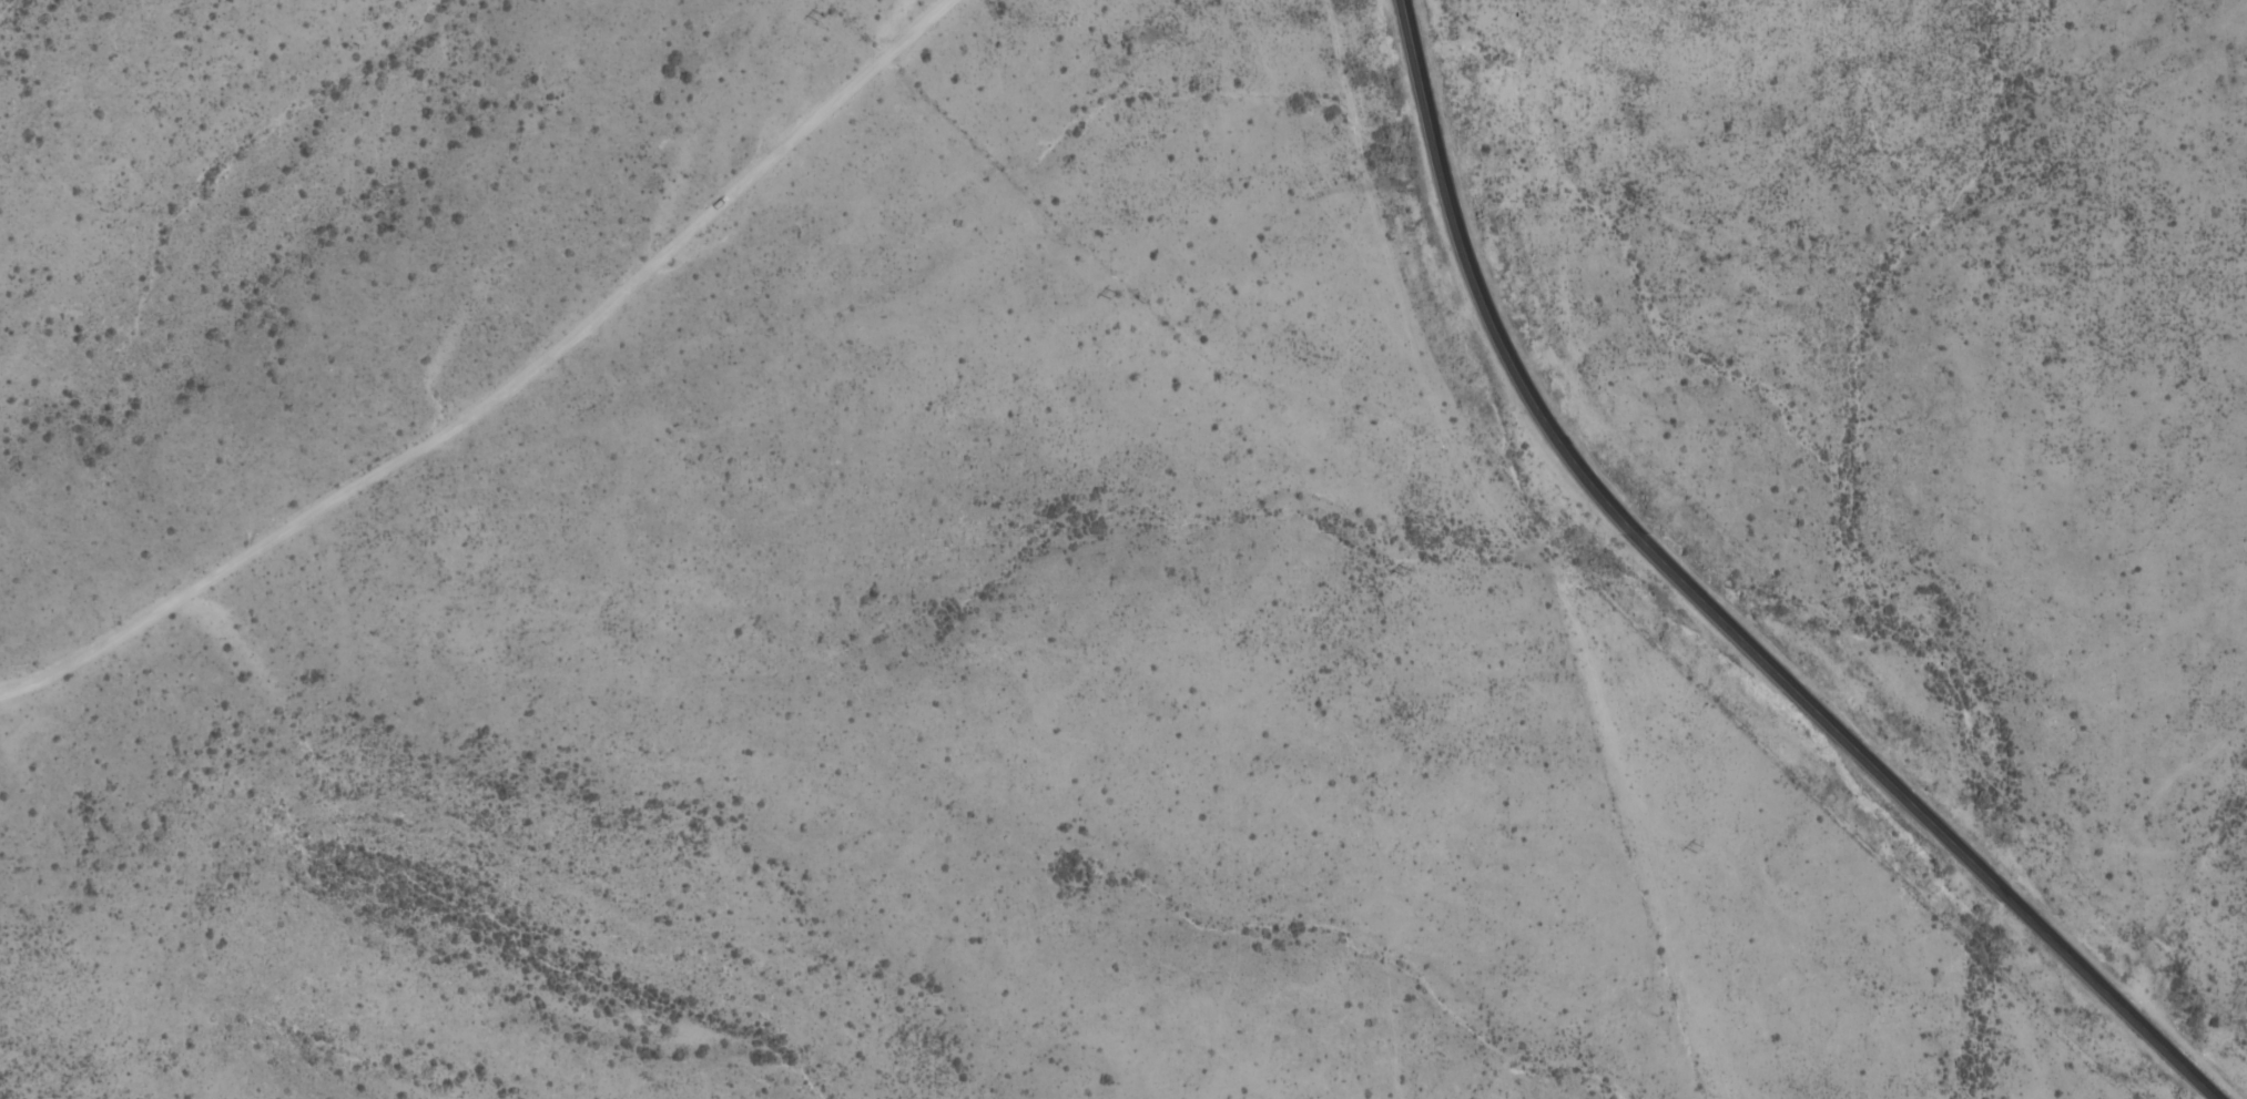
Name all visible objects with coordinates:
power tower: (817, 16)
power tower: (1110, 293)
road: (506, 390)
power tower: (1402, 569)
road: (1715, 609)
power tower: (1696, 846)

